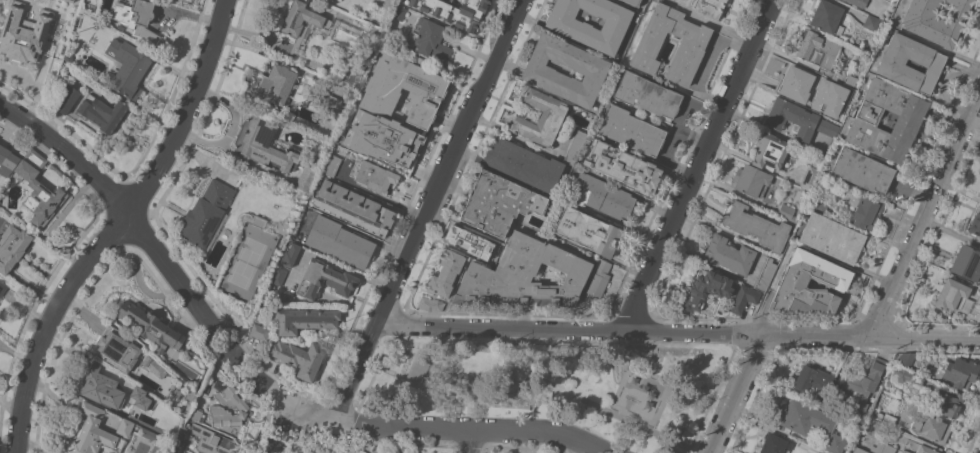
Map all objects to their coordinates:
building: (71, 0)
building: (632, 2)
building: (856, 2)
building: (706, 6)
building: (455, 11)
building: (399, 12)
building: (827, 17)
building: (70, 19)
building: (138, 19)
building: (936, 20)
road: (711, 21)
building: (871, 23)
building: (298, 27)
building: (573, 28)
building: (16, 33)
building: (371, 35)
building: (431, 39)
building: (690, 45)
building: (864, 46)
building: (818, 49)
building: (68, 55)
road: (789, 55)
road: (280, 58)
building: (930, 60)
building: (49, 67)
building: (127, 68)
building: (352, 70)
building: (541, 72)
building: (839, 75)
building: (798, 83)
building: (276, 84)
building: (426, 88)
building: (842, 89)
building: (647, 94)
building: (66, 99)
building: (329, 101)
building: (102, 113)
building: (541, 118)
building: (792, 118)
building: (908, 120)
building: (827, 127)
road: (676, 128)
building: (631, 130)
road: (695, 133)
building: (263, 144)
building: (575, 146)
building: (771, 151)
building: (22, 152)
building: (7, 160)
building: (331, 164)
building: (523, 164)
road: (701, 165)
building: (623, 166)
building: (862, 170)
building: (811, 175)
building: (375, 177)
building: (306, 178)
building: (751, 180)
building: (38, 190)
building: (601, 196)
road: (119, 202)
building: (498, 203)
building: (821, 203)
building: (353, 208)
building: (867, 211)
road: (430, 212)
building: (206, 213)
building: (788, 213)
road: (923, 214)
building: (251, 219)
building: (976, 223)
building: (755, 226)
road: (119, 227)
building: (587, 230)
building: (832, 237)
building: (340, 241)
building: (468, 241)
building: (13, 248)
building: (291, 254)
building: (728, 254)
building: (967, 263)
building: (445, 272)
building: (765, 274)
building: (523, 275)
building: (279, 276)
building: (324, 279)
building: (598, 281)
building: (792, 281)
building: (2, 288)
building: (706, 288)
building: (954, 296)
building: (744, 298)
building: (430, 303)
building: (305, 319)
building: (151, 326)
building: (260, 331)
road: (679, 332)
building: (118, 349)
building: (298, 357)
building: (906, 359)
building: (154, 366)
road: (655, 366)
building: (414, 370)
building: (960, 372)
building: (515, 374)
road: (653, 374)
road: (519, 375)
building: (907, 375)
building: (815, 381)
park: (562, 385)
building: (862, 385)
building: (100, 386)
building: (138, 393)
building: (175, 393)
road: (739, 394)
building: (189, 396)
building: (825, 401)
building: (946, 403)
building: (242, 406)
building: (196, 415)
building: (878, 415)
building: (888, 419)
building: (809, 422)
building: (125, 427)
road: (407, 427)
building: (933, 428)
road: (280, 432)
building: (95, 434)
building: (149, 435)
building: (184, 440)
building: (213, 441)
road: (473, 441)
building: (775, 444)
building: (920, 447)
building: (882, 448)
building: (179, 450)
building: (858, 450)
building: (362, 451)
building: (906, 451)
building: (311, 452)
building: (336, 452)
building: (405, 452)
building: (415, 452)

